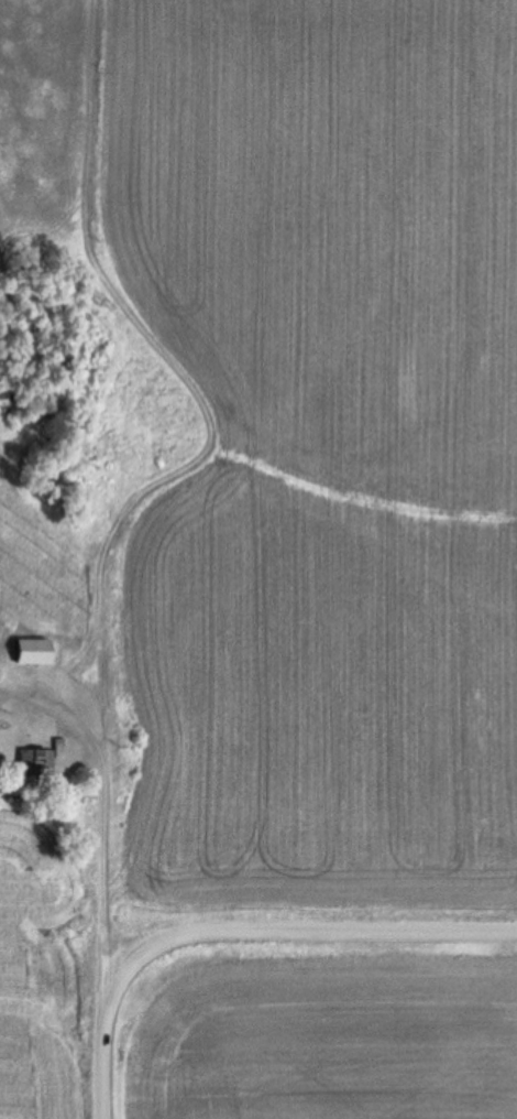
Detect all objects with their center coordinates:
building: (26, 652)
building: (38, 759)
road: (107, 814)
road: (299, 936)
road: (105, 1058)

